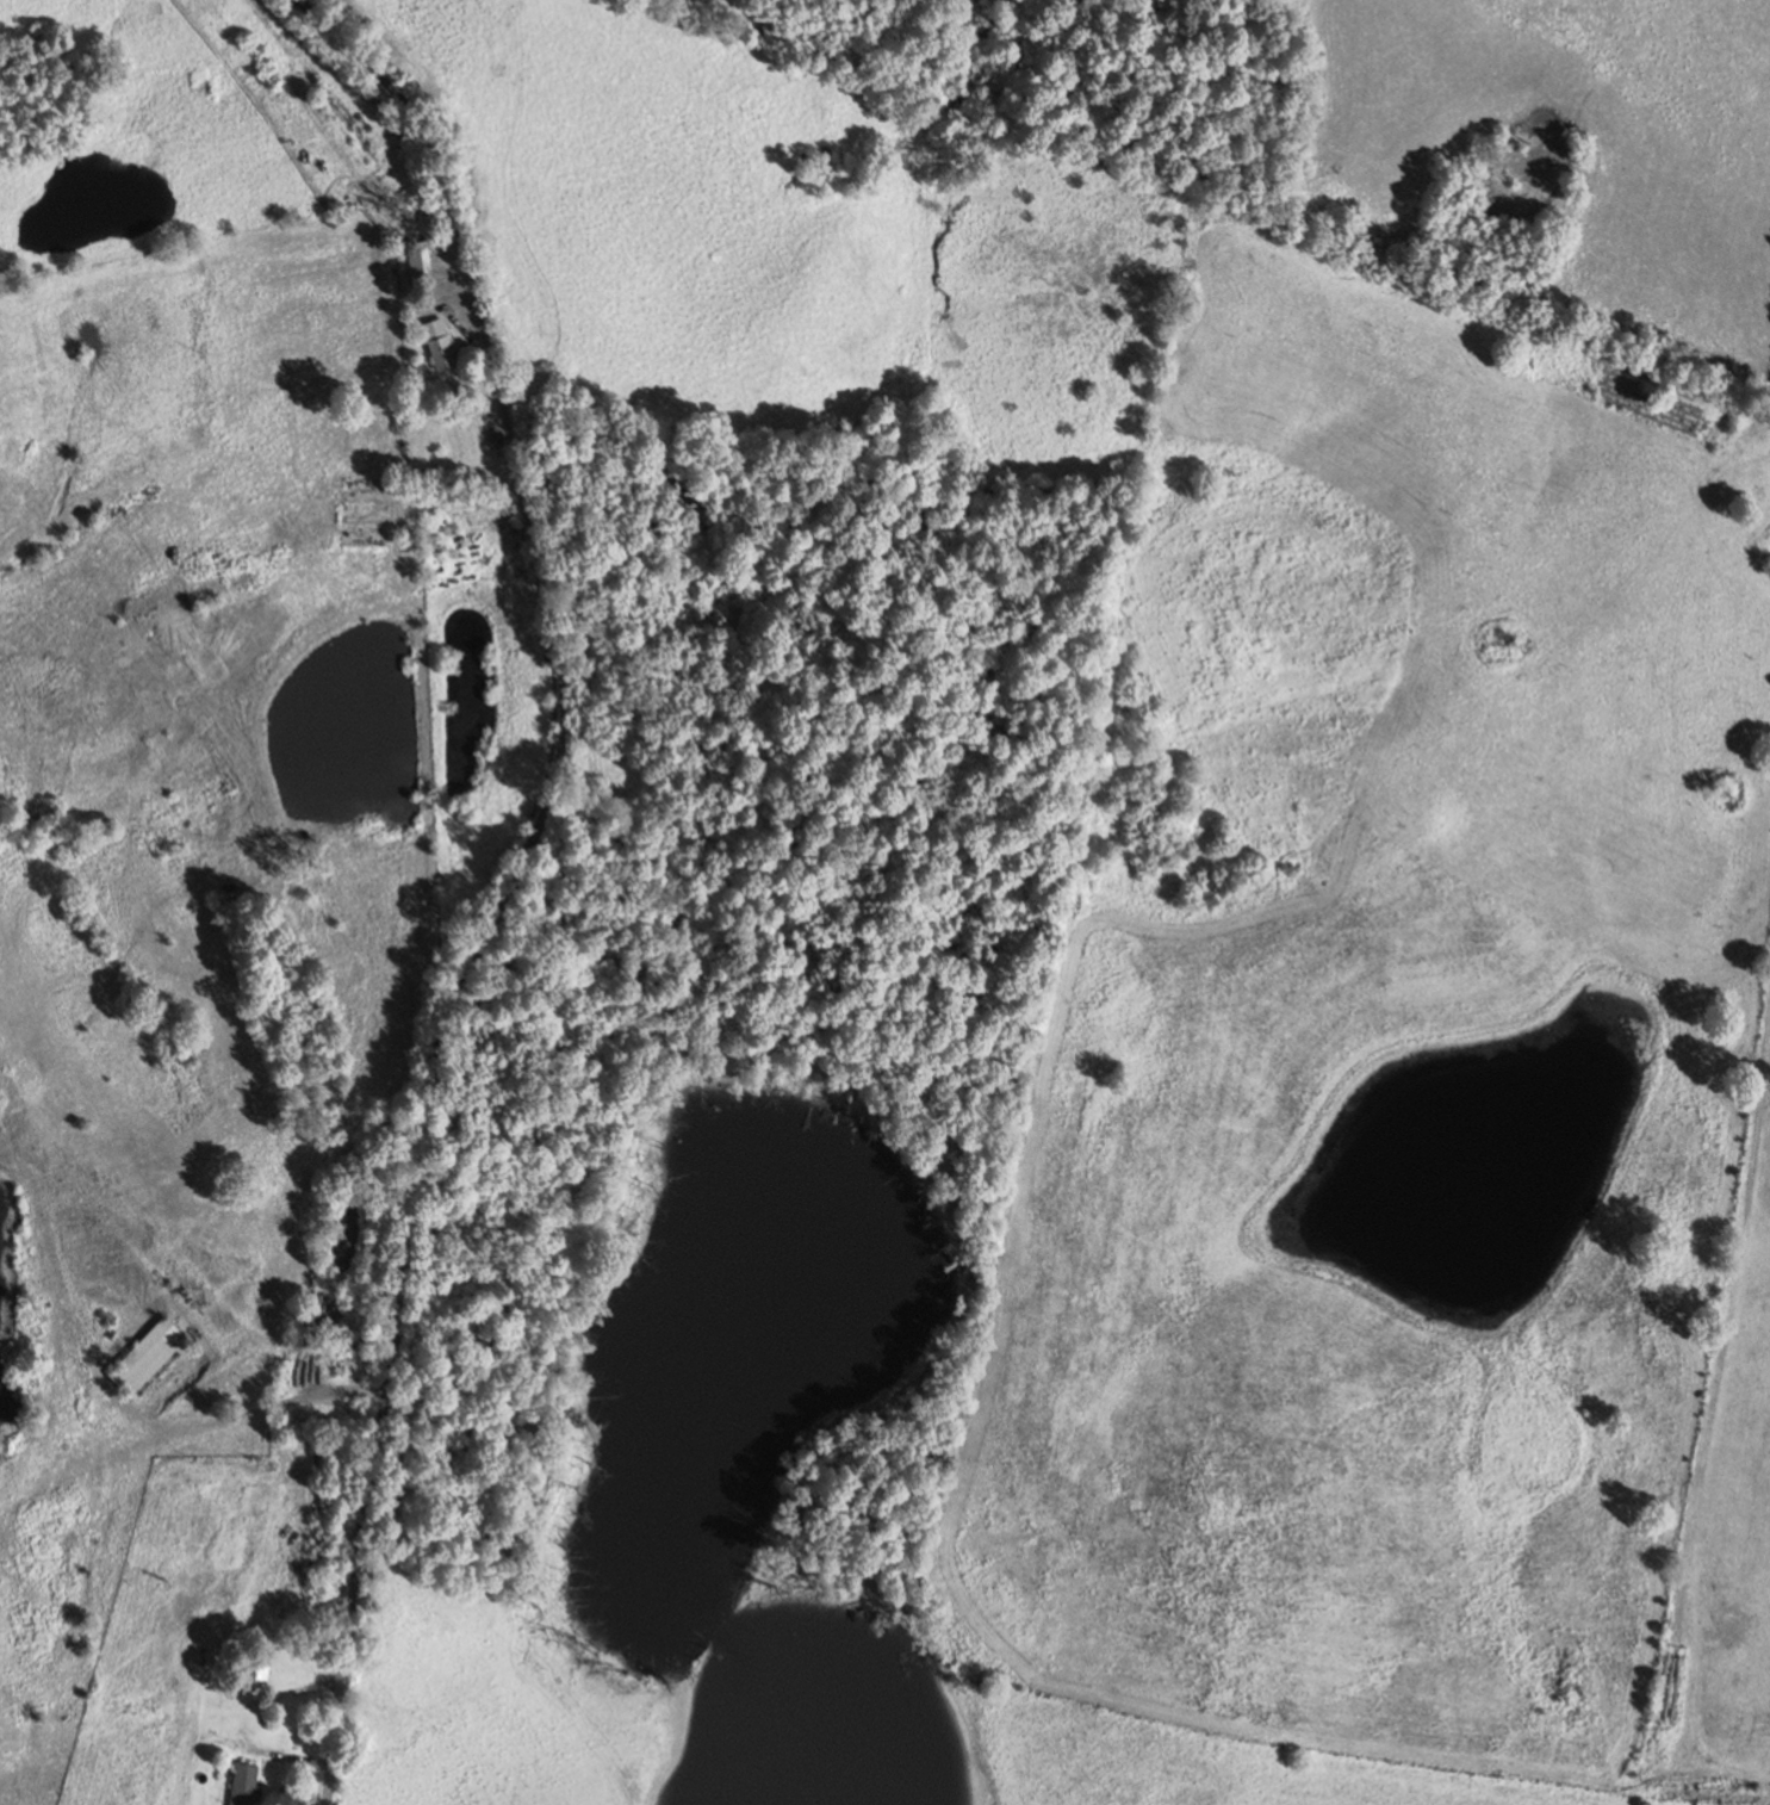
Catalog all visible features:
road: (522, 876)

